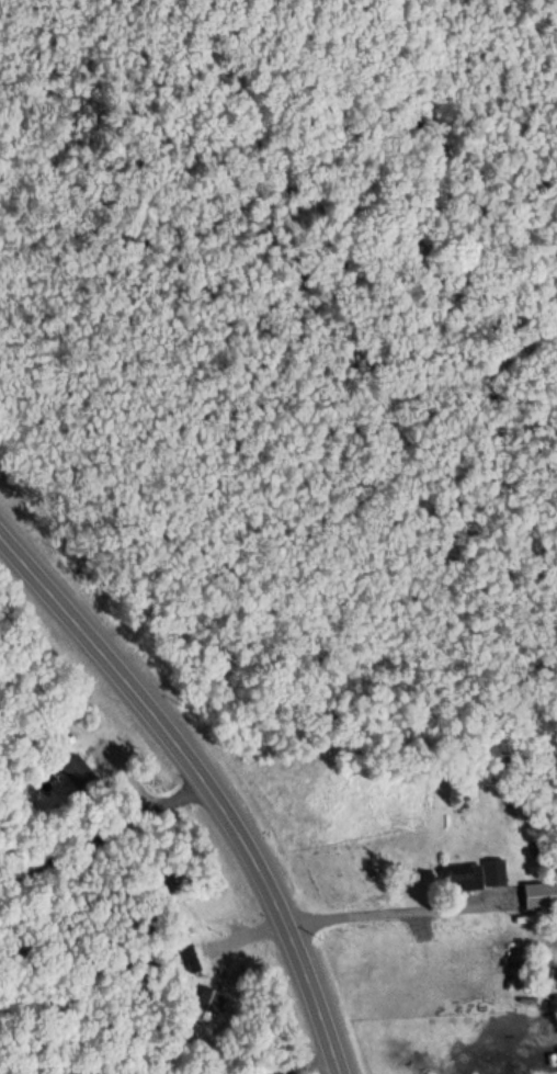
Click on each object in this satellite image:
road: (205, 784)
road: (387, 913)
road: (305, 1069)

